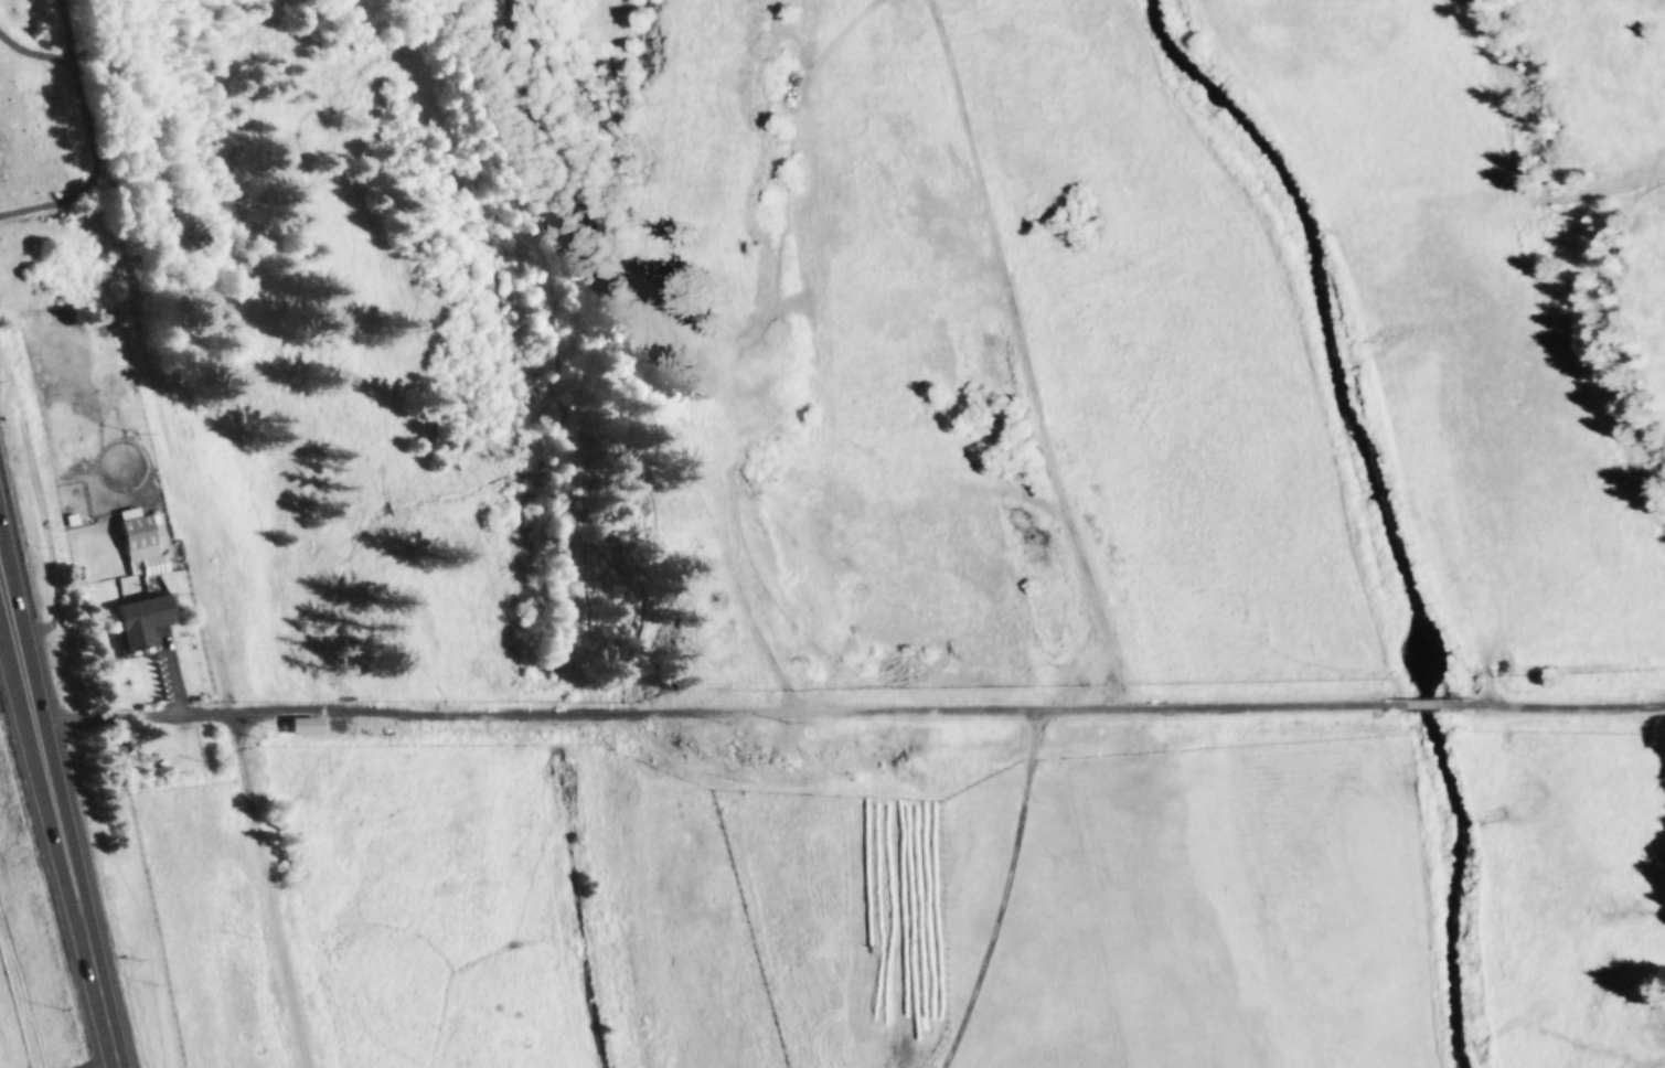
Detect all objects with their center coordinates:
park: (207, 1)
road: (39, 54)
road: (102, 146)
river: (1387, 505)
building: (138, 533)
railway: (181, 534)
building: (156, 566)
road: (1, 594)
building: (140, 622)
road: (850, 713)
road: (57, 824)
road: (1011, 894)

